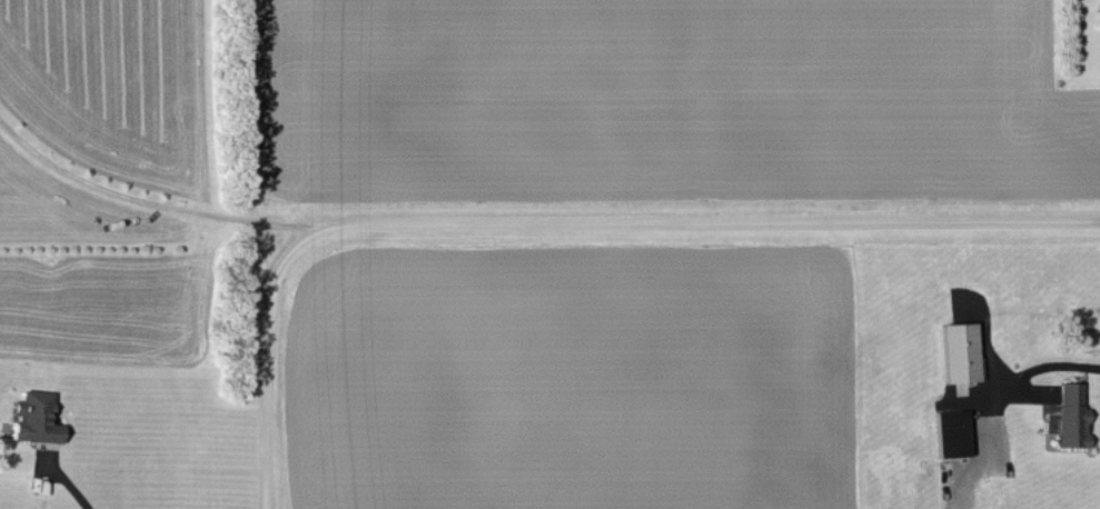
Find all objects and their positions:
building: (1098, 6)
road: (150, 201)
road: (556, 221)
building: (958, 350)
road: (999, 388)
building: (1068, 415)
building: (33, 417)
building: (950, 432)
road: (73, 490)

